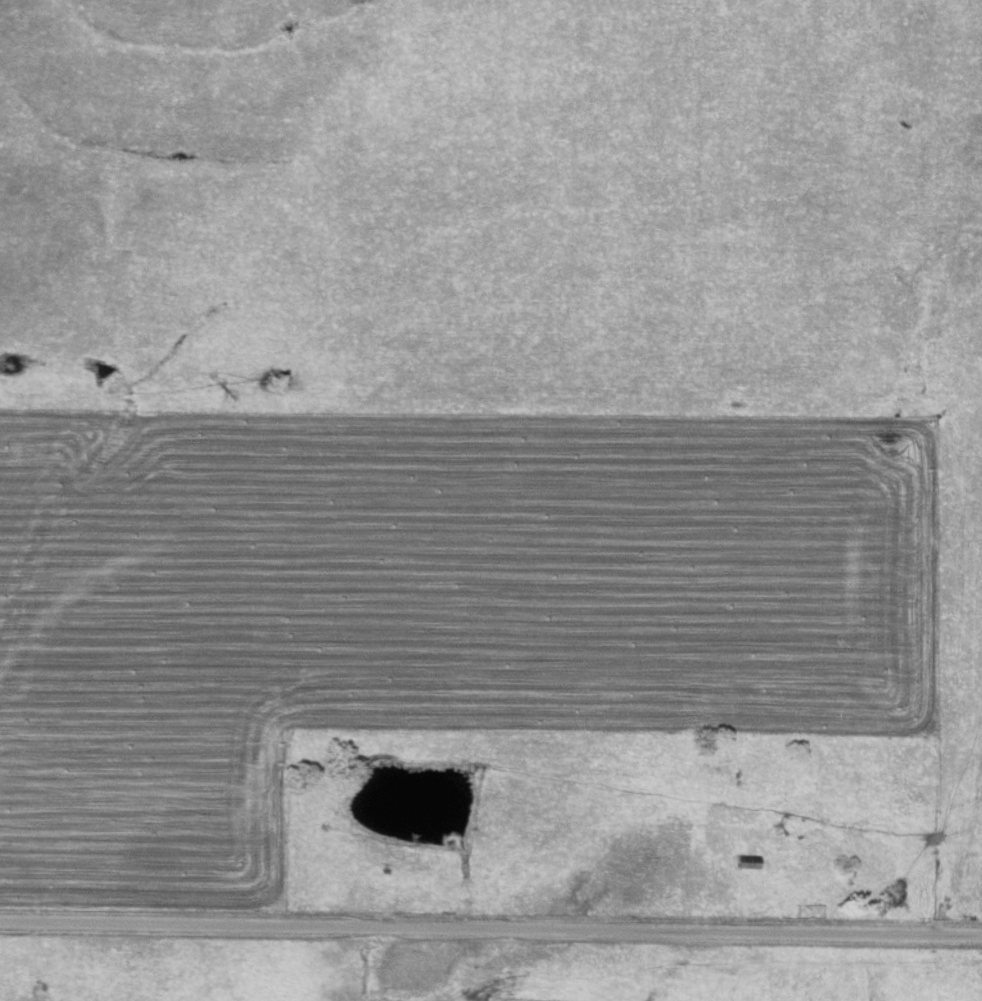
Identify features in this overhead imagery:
building: (746, 863)
road: (490, 928)

